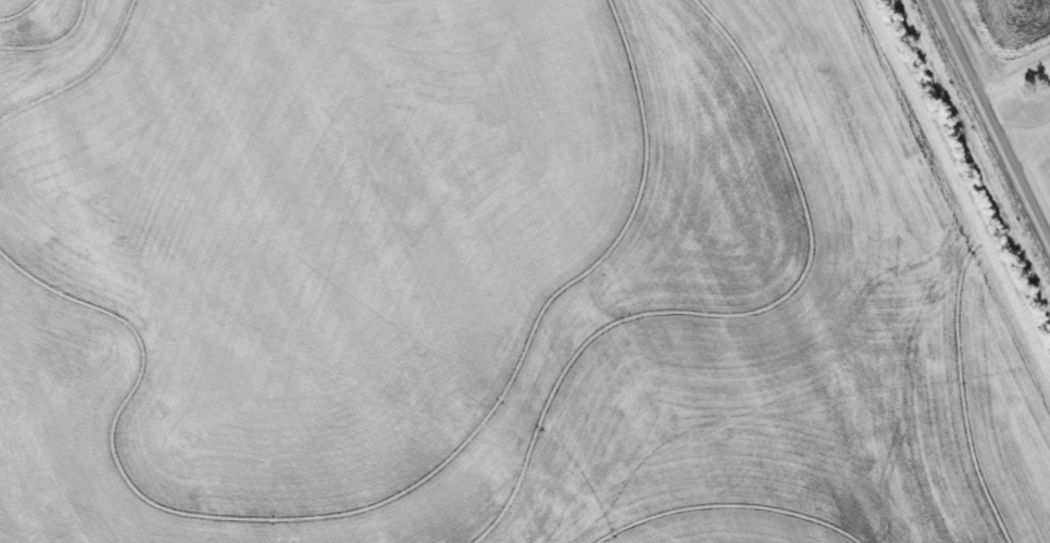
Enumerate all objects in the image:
road: (1014, 78)
road: (992, 118)

